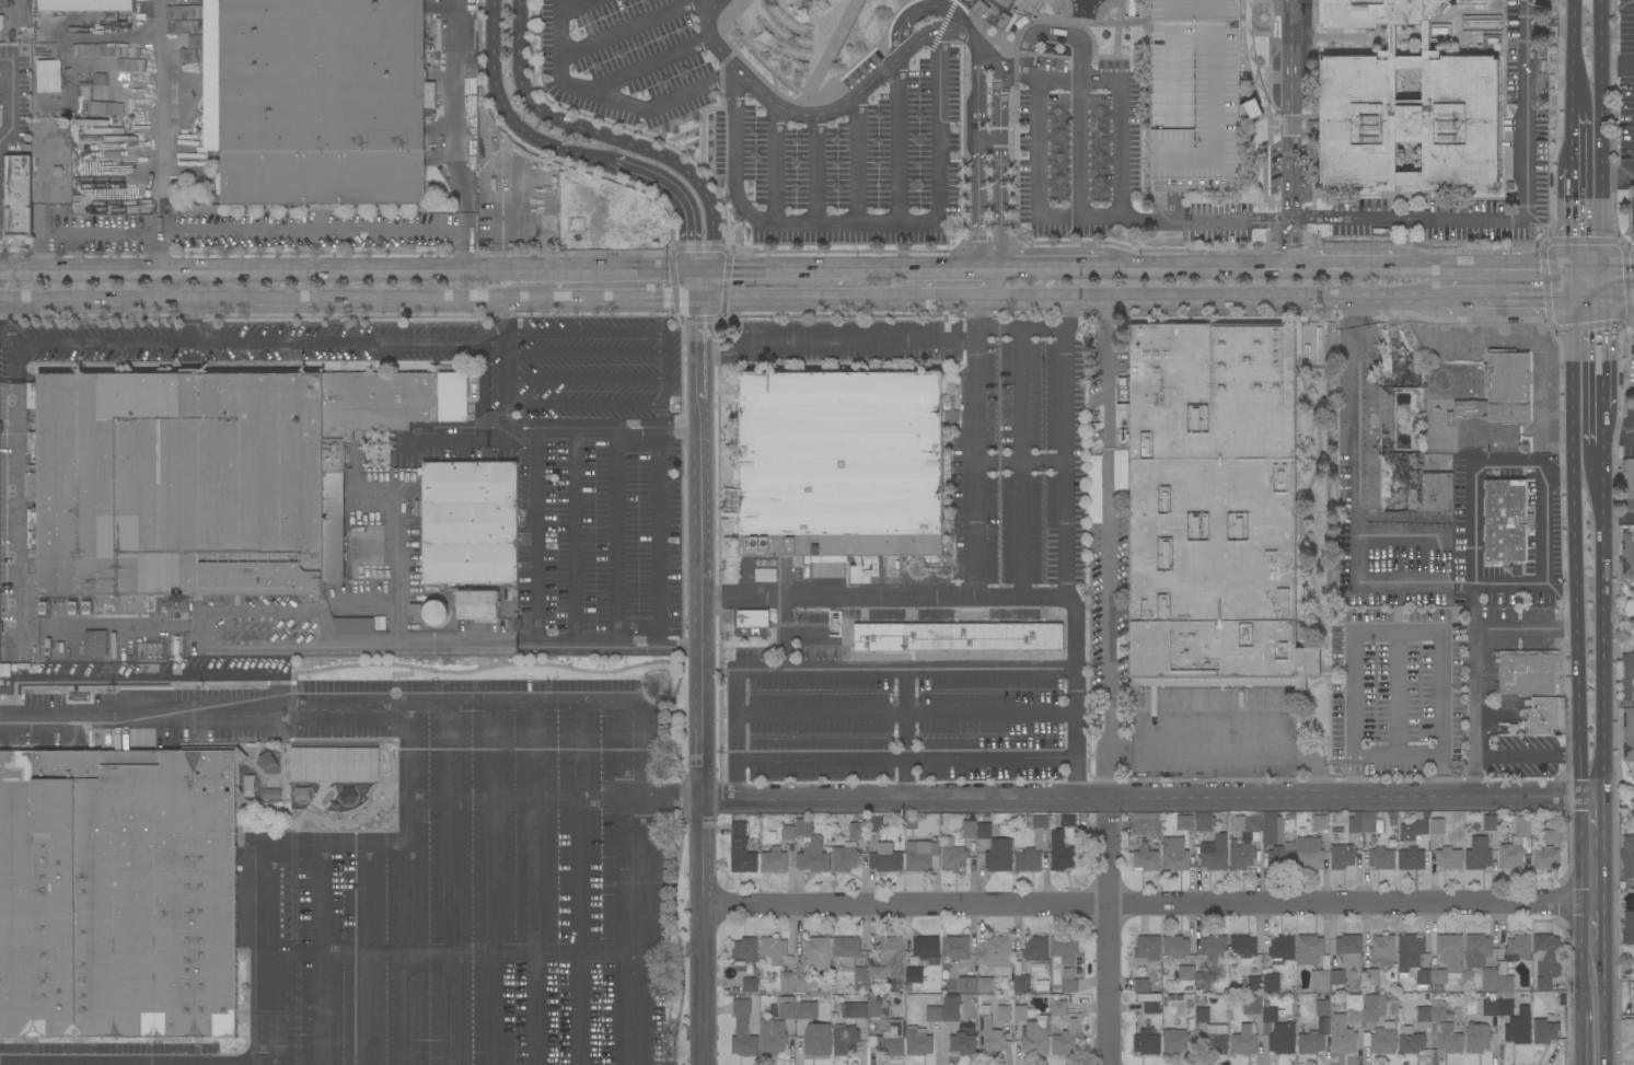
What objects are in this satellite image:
building: (4, 3)
building: (85, 5)
road: (572, 7)
road: (918, 10)
building: (1005, 10)
road: (1529, 13)
building: (1, 22)
road: (1554, 26)
road: (1578, 26)
road: (625, 28)
road: (1064, 35)
building: (44, 61)
road: (649, 62)
road: (1024, 62)
road: (1616, 62)
road: (1016, 74)
building: (47, 80)
road: (1577, 82)
road: (11, 90)
building: (1200, 94)
parking lot: (1200, 94)
road: (611, 97)
building: (316, 100)
road: (1122, 103)
building: (1405, 105)
road: (1289, 109)
road: (824, 113)
road: (161, 115)
road: (454, 116)
road: (5, 134)
road: (1600, 134)
road: (1577, 138)
road: (897, 140)
road: (626, 142)
road: (1078, 146)
road: (583, 157)
road: (998, 157)
road: (977, 161)
road: (855, 162)
road: (776, 165)
road: (815, 169)
road: (1528, 170)
road: (1618, 172)
road: (1035, 189)
building: (16, 195)
road: (1207, 218)
road: (1577, 218)
road: (1361, 219)
road: (860, 223)
road: (84, 231)
road: (276, 231)
road: (462, 238)
road: (1290, 243)
traffic signals: (692, 267)
traffic signals: (706, 267)
road: (784, 267)
road: (931, 267)
road: (1201, 267)
road: (1356, 267)
road: (1507, 267)
traffic signals: (1592, 267)
road: (1613, 267)
road: (1056, 268)
road: (352, 269)
road: (1592, 281)
road: (952, 283)
road: (1516, 296)
traffic signals: (1592, 296)
road: (1613, 296)
road: (1163, 298)
road: (623, 301)
road: (795, 301)
road: (277, 302)
traffic signals: (699, 302)
road: (3, 303)
road: (509, 311)
road: (970, 322)
road: (583, 332)
road: (667, 340)
road: (351, 342)
road: (103, 344)
building: (1312, 344)
road: (960, 346)
road: (583, 350)
road: (1592, 372)
road: (667, 377)
road: (584, 378)
building: (1121, 390)
building: (1499, 390)
road: (583, 403)
road: (1067, 414)
building: (1386, 420)
road: (637, 425)
road: (577, 427)
road: (679, 427)
road: (1613, 427)
road: (636, 429)
road: (459, 442)
road: (1020, 460)
road: (1019, 461)
building: (842, 465)
building: (205, 478)
building: (1629, 485)
road: (1471, 487)
road: (16, 495)
road: (1356, 498)
road: (1544, 503)
building: (1214, 507)
road: (1613, 518)
building: (1506, 521)
building: (468, 522)
parking lot: (596, 524)
road: (576, 534)
road: (616, 534)
road: (658, 536)
road: (1106, 548)
building: (1627, 556)
building: (765, 576)
building: (475, 603)
building: (414, 609)
road: (230, 611)
building: (436, 613)
road: (784, 615)
building: (752, 618)
road: (1594, 623)
building: (354, 624)
road: (1533, 627)
road: (1472, 629)
road: (1414, 630)
road: (784, 634)
building: (959, 636)
road: (521, 638)
road: (582, 640)
road: (639, 641)
building: (95, 643)
road: (677, 645)
road: (639, 647)
road: (683, 653)
road: (532, 663)
road: (881, 670)
building: (1527, 672)
road: (393, 674)
road: (140, 675)
building: (1626, 675)
road: (703, 683)
road: (1394, 692)
road: (521, 701)
road: (1067, 711)
road: (157, 715)
building: (1545, 715)
road: (902, 733)
building: (1629, 734)
road: (1233, 744)
road: (405, 750)
road: (1533, 754)
building: (267, 760)
building: (335, 763)
road: (983, 765)
building: (248, 785)
building: (286, 786)
building: (270, 794)
road: (668, 796)
road: (519, 798)
road: (905, 798)
road: (1351, 798)
building: (1391, 814)
building: (1063, 819)
building: (1040, 821)
building: (1392, 821)
building: (882, 822)
building: (909, 822)
building: (1028, 822)
building: (1184, 822)
building: (1204, 822)
building: (1245, 822)
building: (1320, 822)
building: (1490, 822)
building: (1146, 823)
building: (1364, 823)
building: (1437, 825)
building: (802, 826)
building: (1414, 827)
building: (969, 830)
building: (983, 830)
building: (1523, 830)
building: (858, 831)
building: (787, 833)
building: (770, 835)
building: (1551, 836)
building: (1323, 838)
building: (953, 841)
road: (333, 842)
building: (1276, 842)
building: (1391, 843)
building: (741, 850)
building: (1062, 853)
building: (1214, 853)
building: (1477, 853)
building: (790, 854)
building: (1174, 854)
building: (1242, 854)
building: (1309, 854)
building: (998, 855)
building: (813, 856)
building: (922, 856)
building: (1342, 856)
building: (1510, 856)
building: (845, 857)
building: (1629, 857)
building: (885, 858)
building: (953, 858)
building: (1448, 858)
building: (1545, 858)
building: (1145, 859)
building: (1381, 859)
building: (1411, 859)
building: (774, 860)
building: (1028, 860)
parking lot: (331, 872)
road: (448, 882)
road: (492, 882)
road: (535, 882)
road: (581, 882)
building: (118, 893)
road: (1595, 894)
road: (1148, 900)
building: (1627, 928)
road: (405, 930)
road: (634, 930)
road: (1108, 944)
building: (1175, 946)
building: (1214, 946)
building: (1242, 946)
building: (1518, 947)
building: (1064, 948)
building: (773, 949)
building: (926, 949)
building: (1035, 949)
building: (1282, 949)
building: (1308, 949)
building: (1382, 949)
building: (845, 950)
building: (954, 950)
building: (1147, 950)
building: (1349, 950)
building: (1477, 950)
road: (360, 952)
building: (744, 952)
building: (816, 952)
road: (262, 953)
road: (315, 953)
building: (1450, 953)
road: (448, 954)
building: (999, 957)
building: (1545, 959)
building: (892, 960)
building: (1412, 960)
building: (1528, 963)
building: (1038, 965)
building: (1502, 968)
building: (1186, 973)
building: (913, 975)
building: (877, 976)
building: (1438, 976)
building: (1337, 977)
building: (1370, 977)
building: (860, 979)
building: (1490, 980)
building: (1068, 981)
building: (1319, 981)
building: (787, 982)
building: (1021, 982)
building: (1202, 982)
building: (1271, 982)
building: (1254, 983)
building: (1505, 983)
building: (749, 985)
building: (966, 985)
building: (985, 985)
building: (1140, 985)
building: (806, 986)
building: (1437, 988)
building: (1149, 996)
building: (1392, 996)
building: (1170, 997)
building: (1179, 997)
building: (1164, 1000)
building: (1252, 1005)
building: (786, 1007)
building: (1151, 1007)
building: (1372, 1007)
building: (1505, 1007)
building: (1058, 1008)
building: (1322, 1008)
building: (1490, 1008)
building: (806, 1009)
building: (858, 1010)
building: (878, 1010)
building: (1020, 1012)
building: (1280, 1012)
building: (1355, 1012)
building: (1432, 1012)
building: (932, 1014)
building: (950, 1014)
building: (1004, 1014)
building: (1202, 1015)
building: (1270, 1015)
building: (1323, 1025)
building: (1266, 1028)
building: (1518, 1029)
road: (1594, 1029)
building: (742, 1030)
building: (1544, 1031)
building: (988, 1037)
building: (1036, 1037)
building: (1627, 1037)
building: (772, 1038)
building: (890, 1038)
building: (1067, 1038)
building: (1342, 1038)
building: (1476, 1038)
building: (1283, 1039)
building: (1383, 1039)
building: (816, 1040)
building: (845, 1040)
building: (1214, 1040)
building: (1448, 1040)
building: (917, 1041)
building: (1174, 1041)
building: (1243, 1041)
building: (1410, 1041)
building: (1147, 1042)
building: (1310, 1043)
building: (962, 1044)

